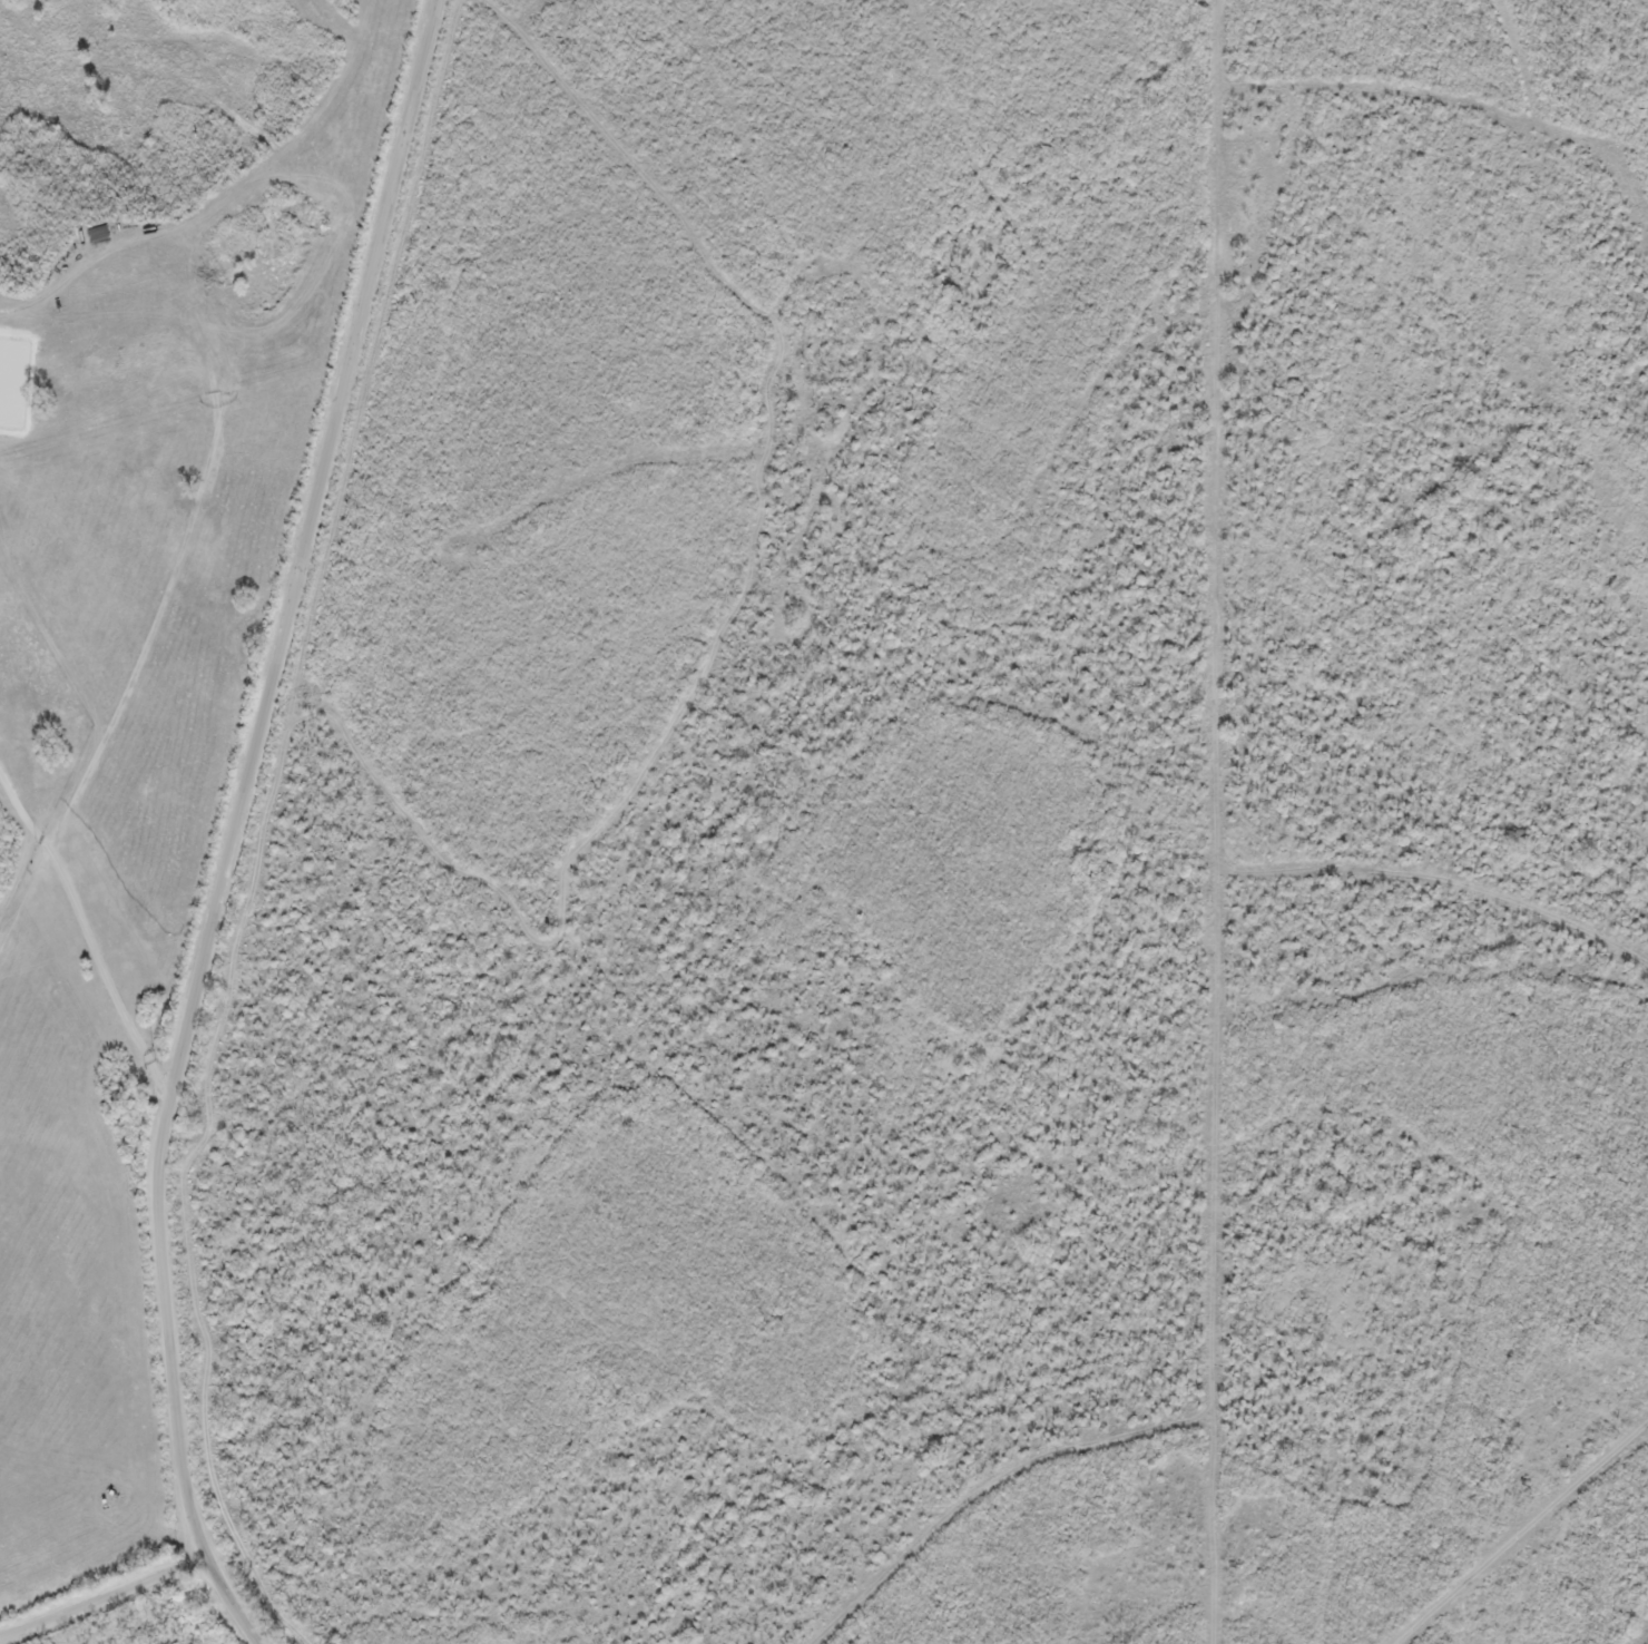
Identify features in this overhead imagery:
road: (237, 823)
road: (1512, 1518)
road: (101, 1596)

